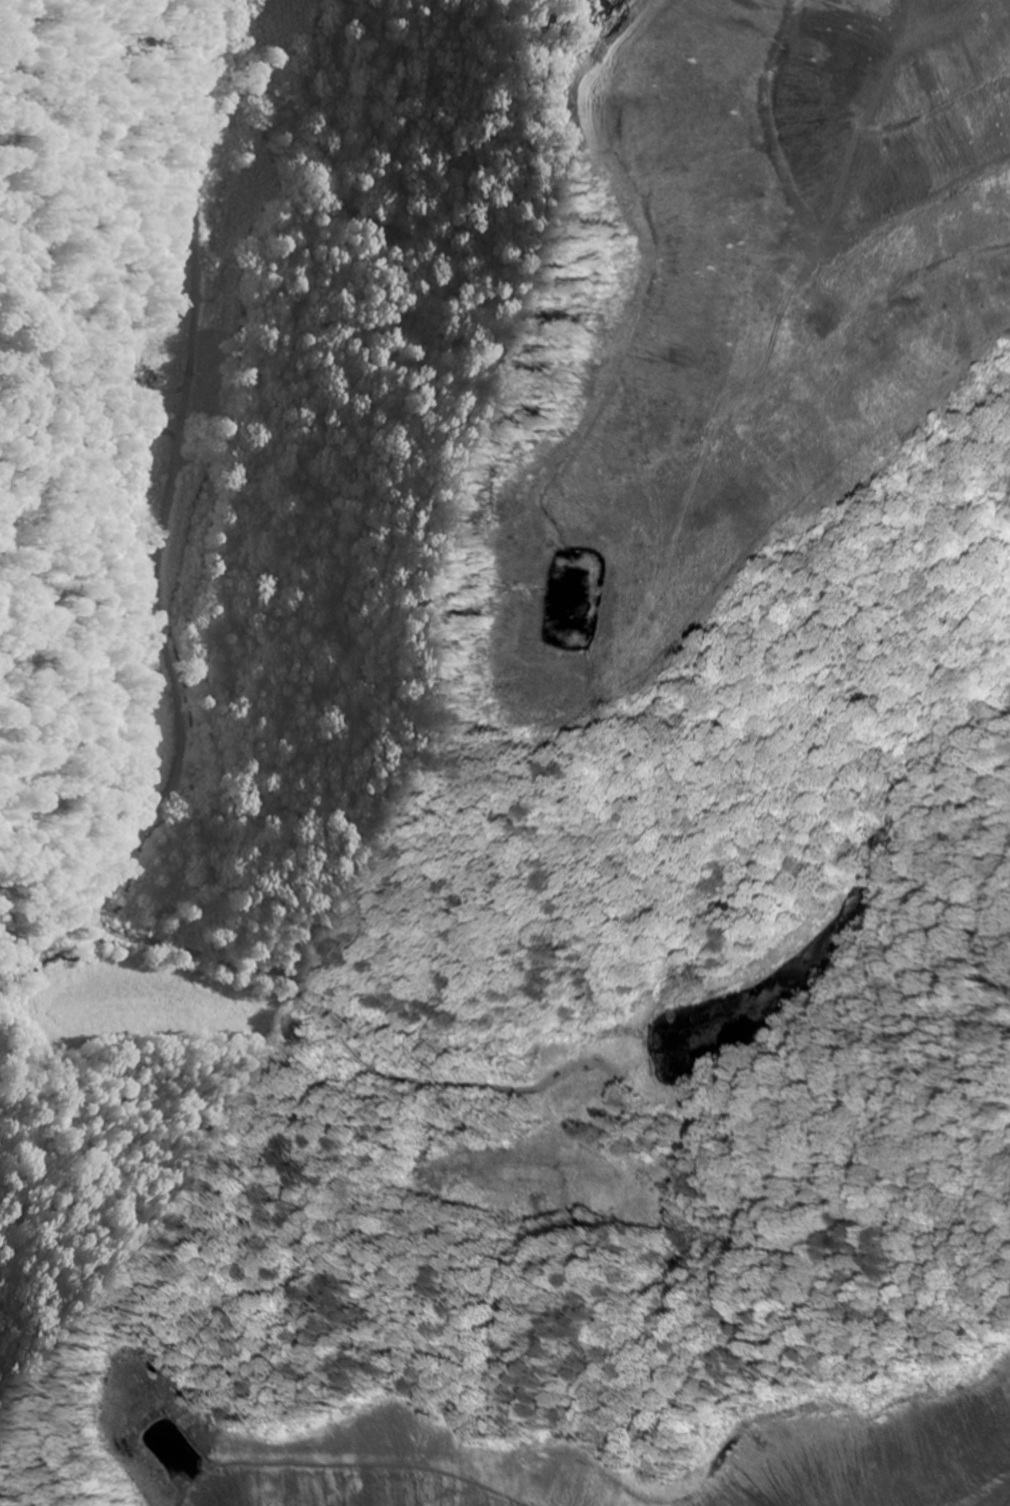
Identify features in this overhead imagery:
road: (166, 528)
road: (206, 1059)

